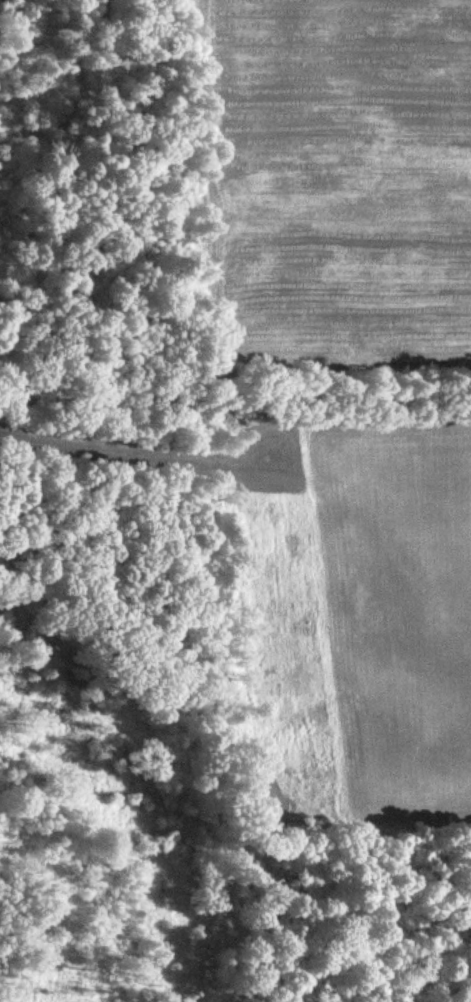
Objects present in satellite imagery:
crop: (332, 177)
crop: (360, 620)

